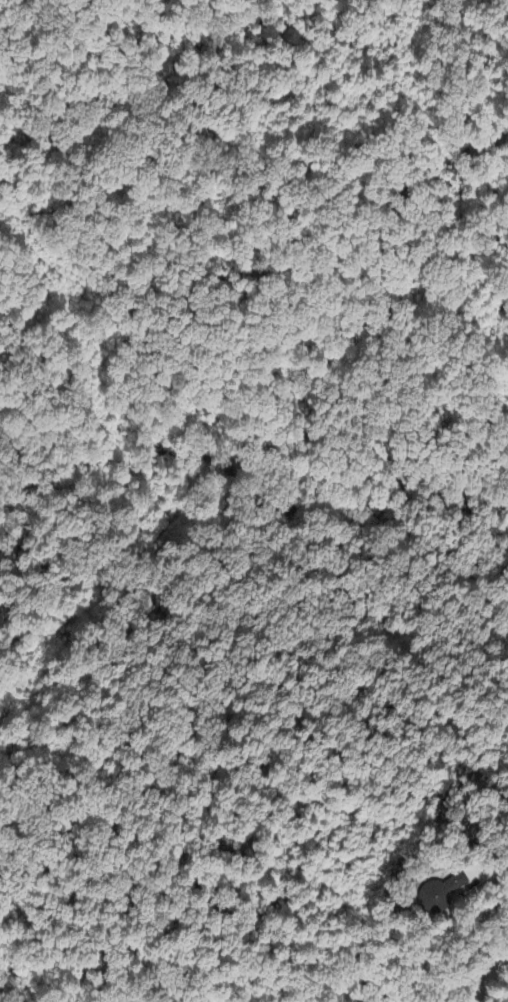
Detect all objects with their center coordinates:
road: (499, 865)
building: (428, 891)
road: (483, 961)
road: (485, 976)

